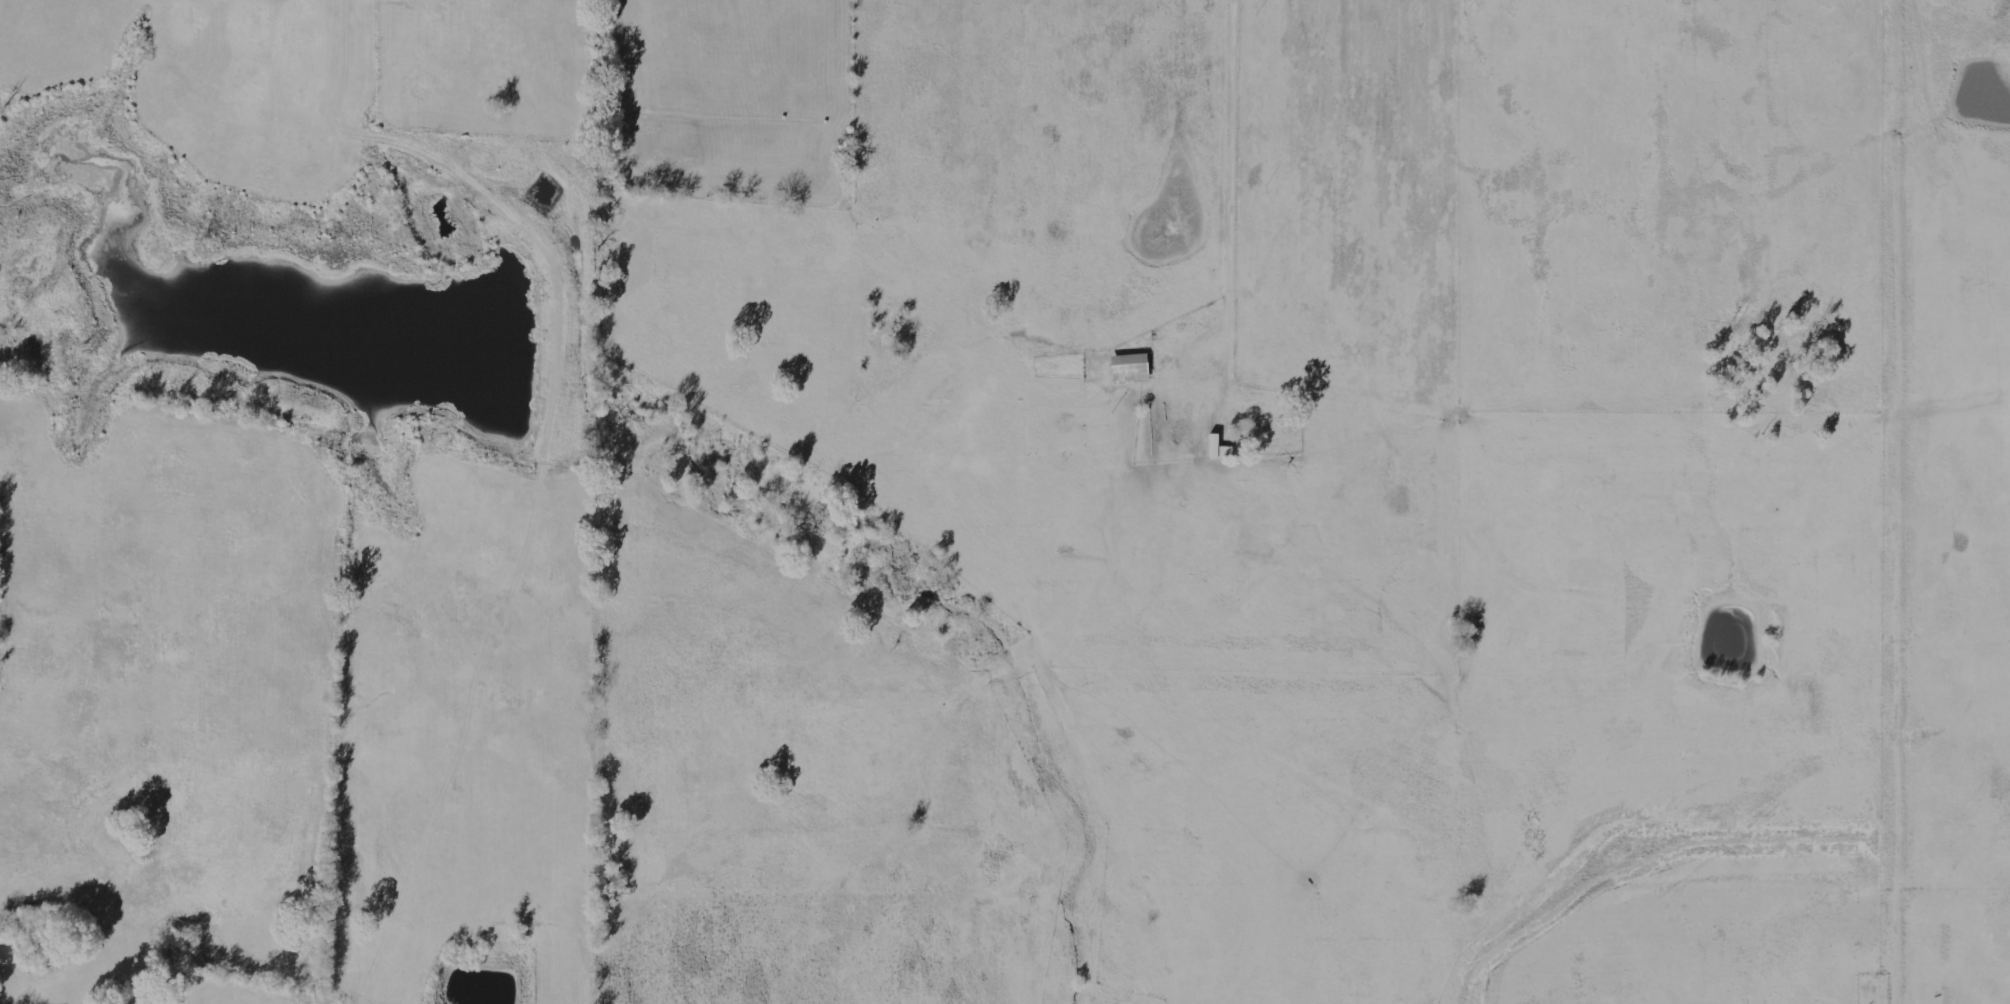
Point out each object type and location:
road: (1234, 163)
building: (1129, 367)
road: (1213, 370)
building: (1218, 449)

